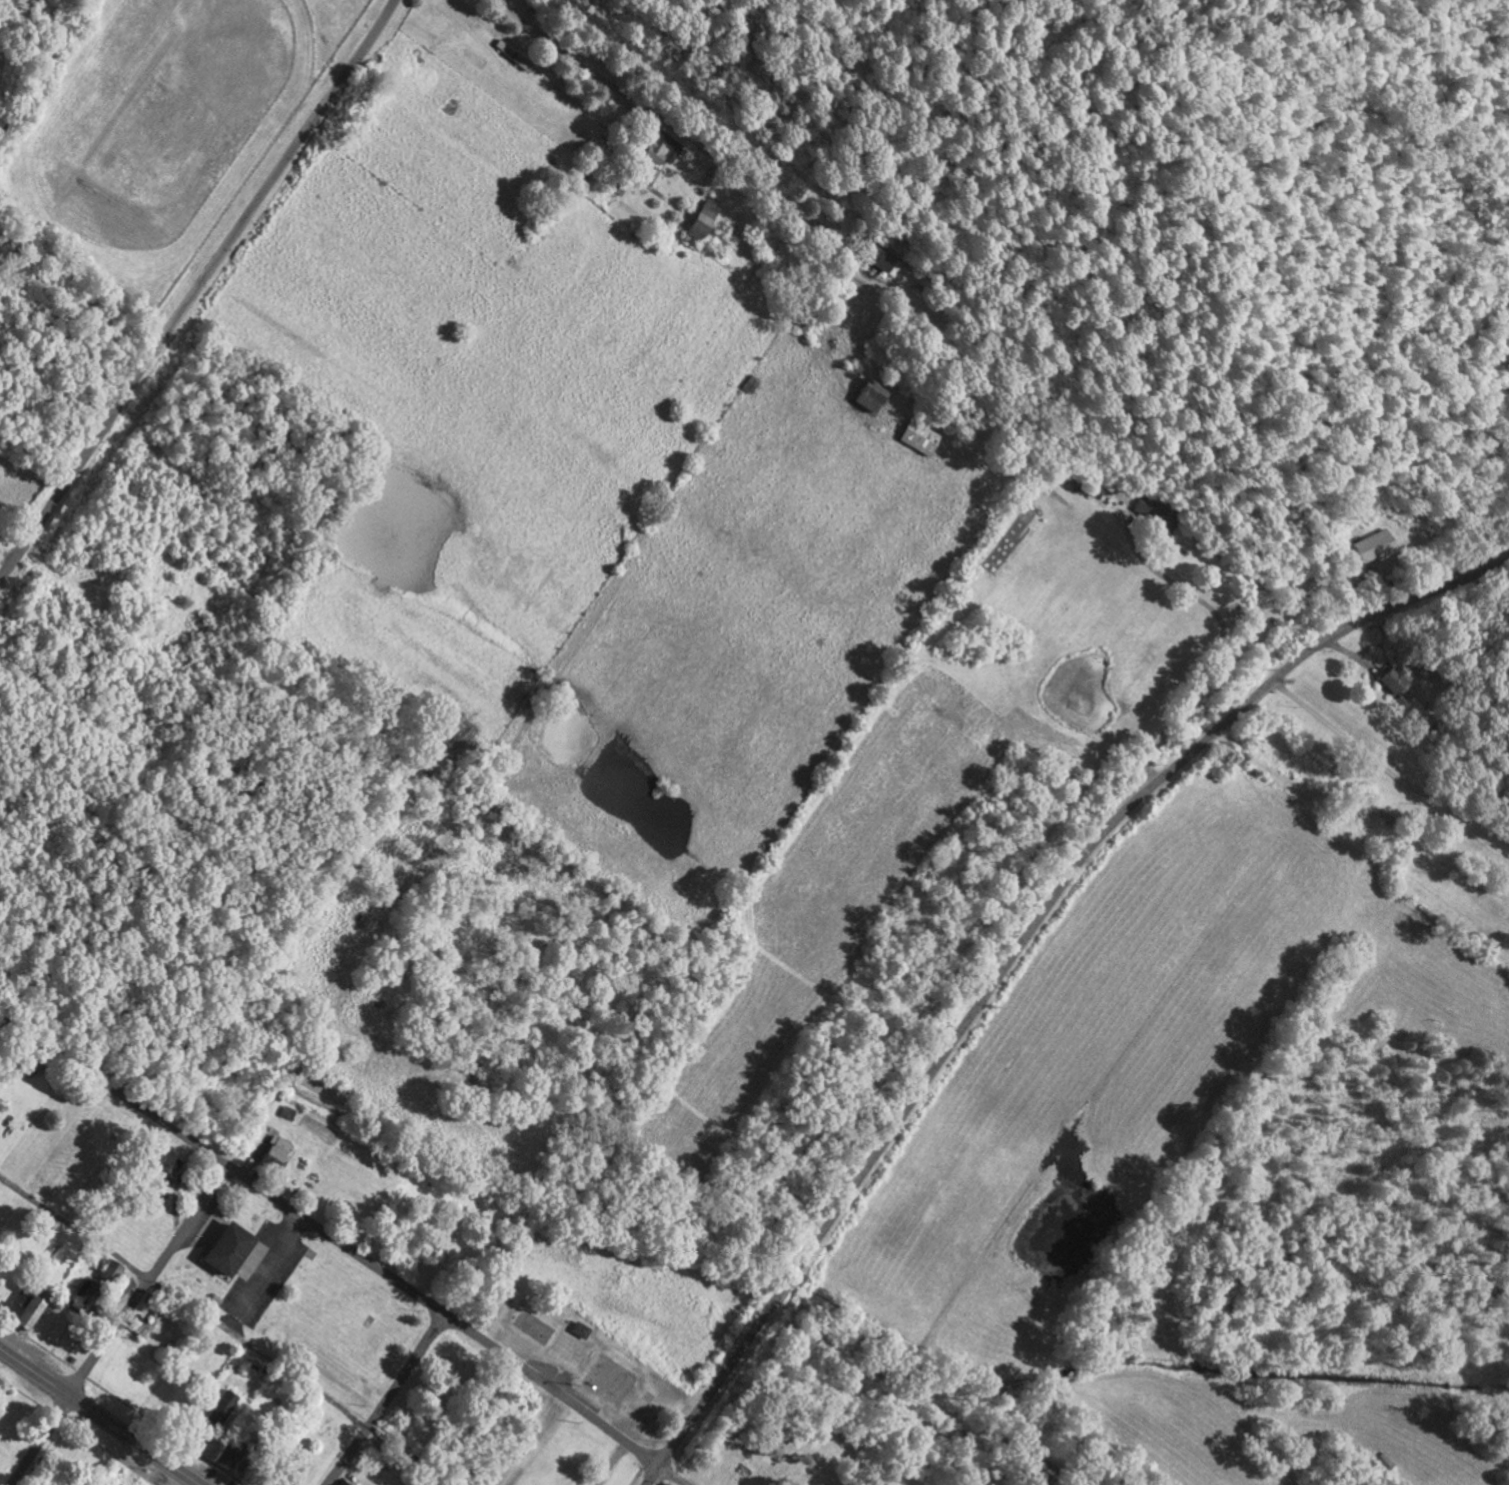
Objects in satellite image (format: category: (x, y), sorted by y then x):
building: (654, 149)
building: (702, 218)
building: (887, 261)
road: (196, 288)
road: (918, 304)
building: (869, 395)
building: (919, 437)
building: (1155, 512)
building: (1373, 545)
road: (1333, 636)
road: (1217, 652)
building: (1393, 681)
road: (1390, 762)
road: (1, 1023)
road: (905, 1111)
building: (273, 1149)
building: (161, 1160)
road: (202, 1229)
road: (346, 1247)
building: (227, 1248)
building: (107, 1271)
road: (266, 1276)
building: (122, 1286)
building: (82, 1293)
road: (183, 1302)
building: (23, 1312)
road: (116, 1326)
park: (535, 1328)
building: (580, 1330)
road: (386, 1402)
building: (220, 1409)
road: (99, 1416)
park: (767, 1444)
building: (220, 1461)

